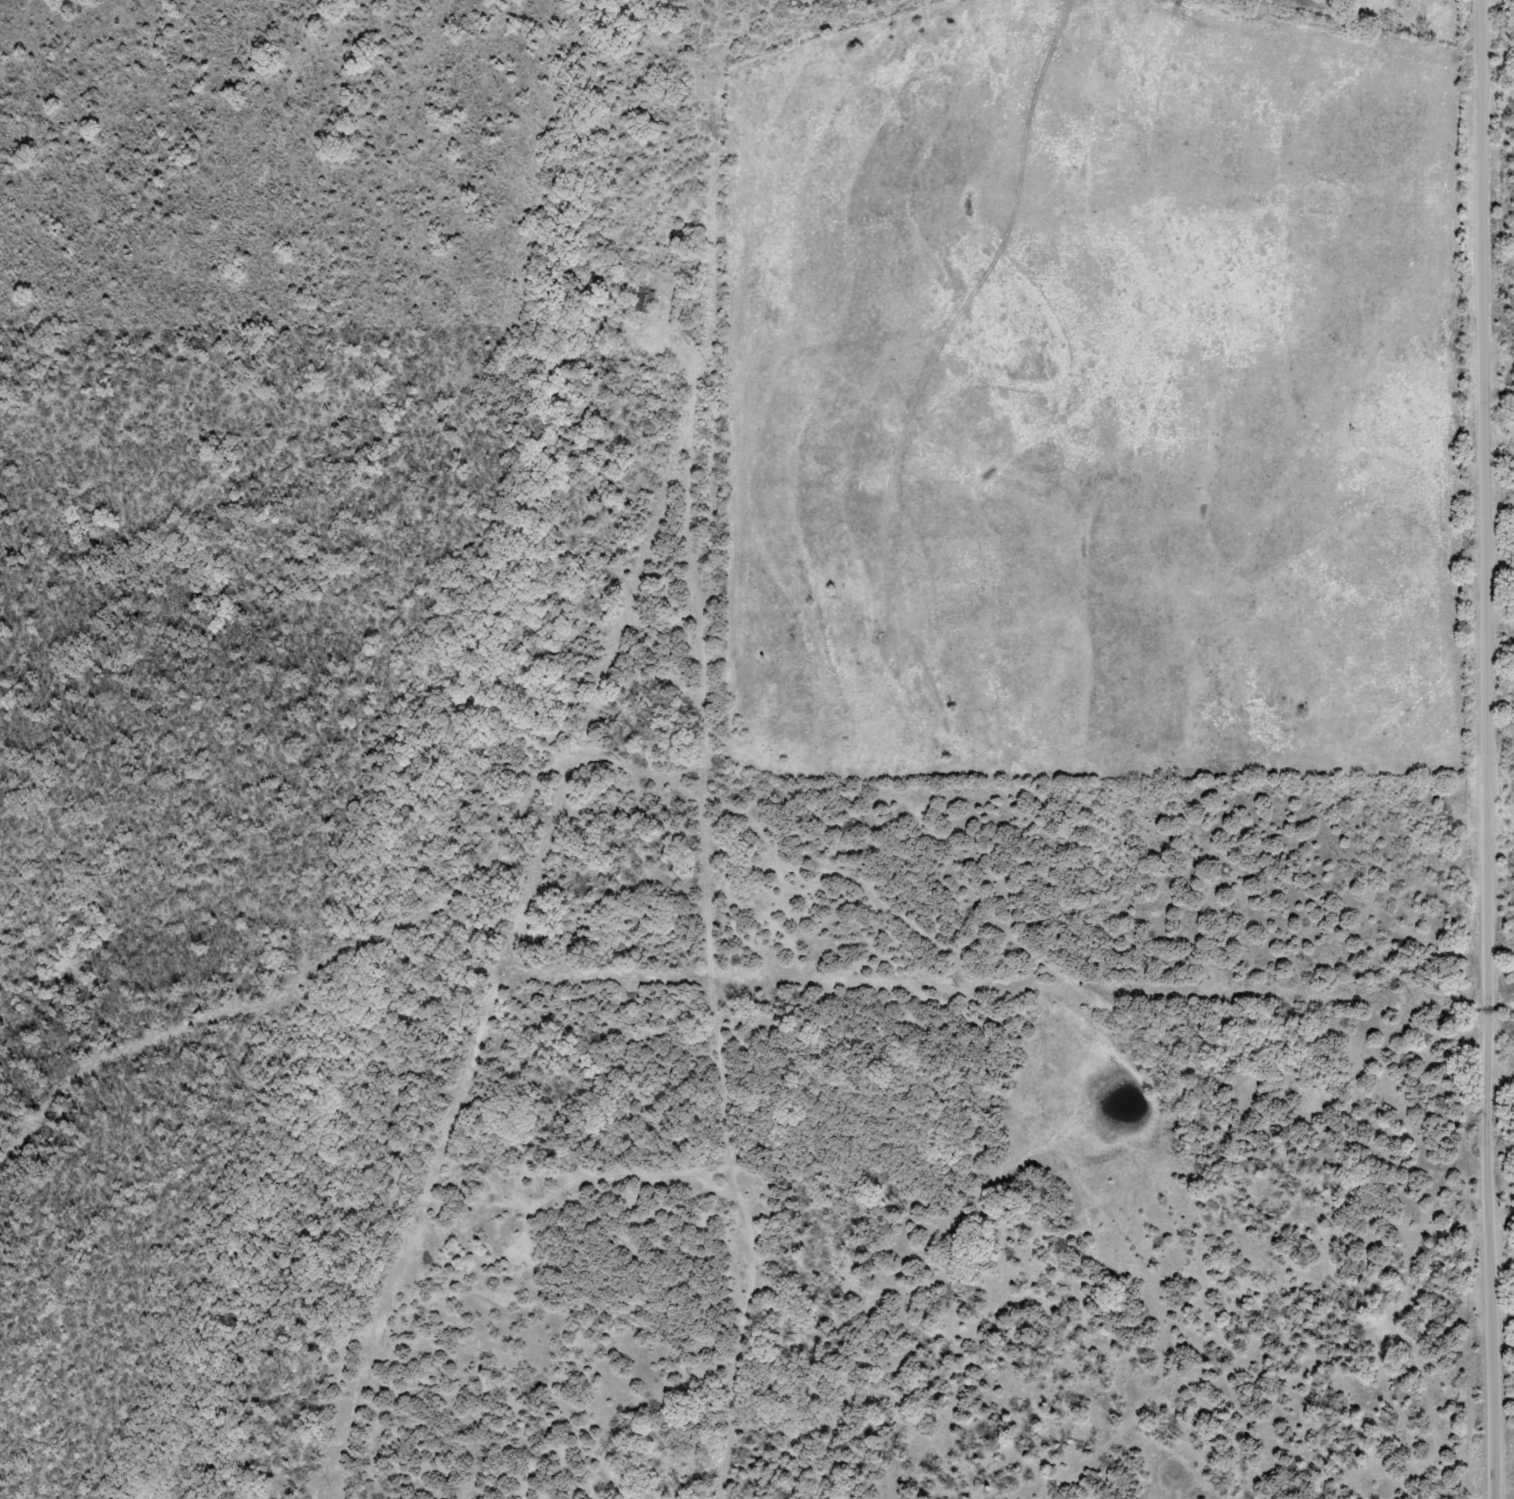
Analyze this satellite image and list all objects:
road: (1486, 749)

